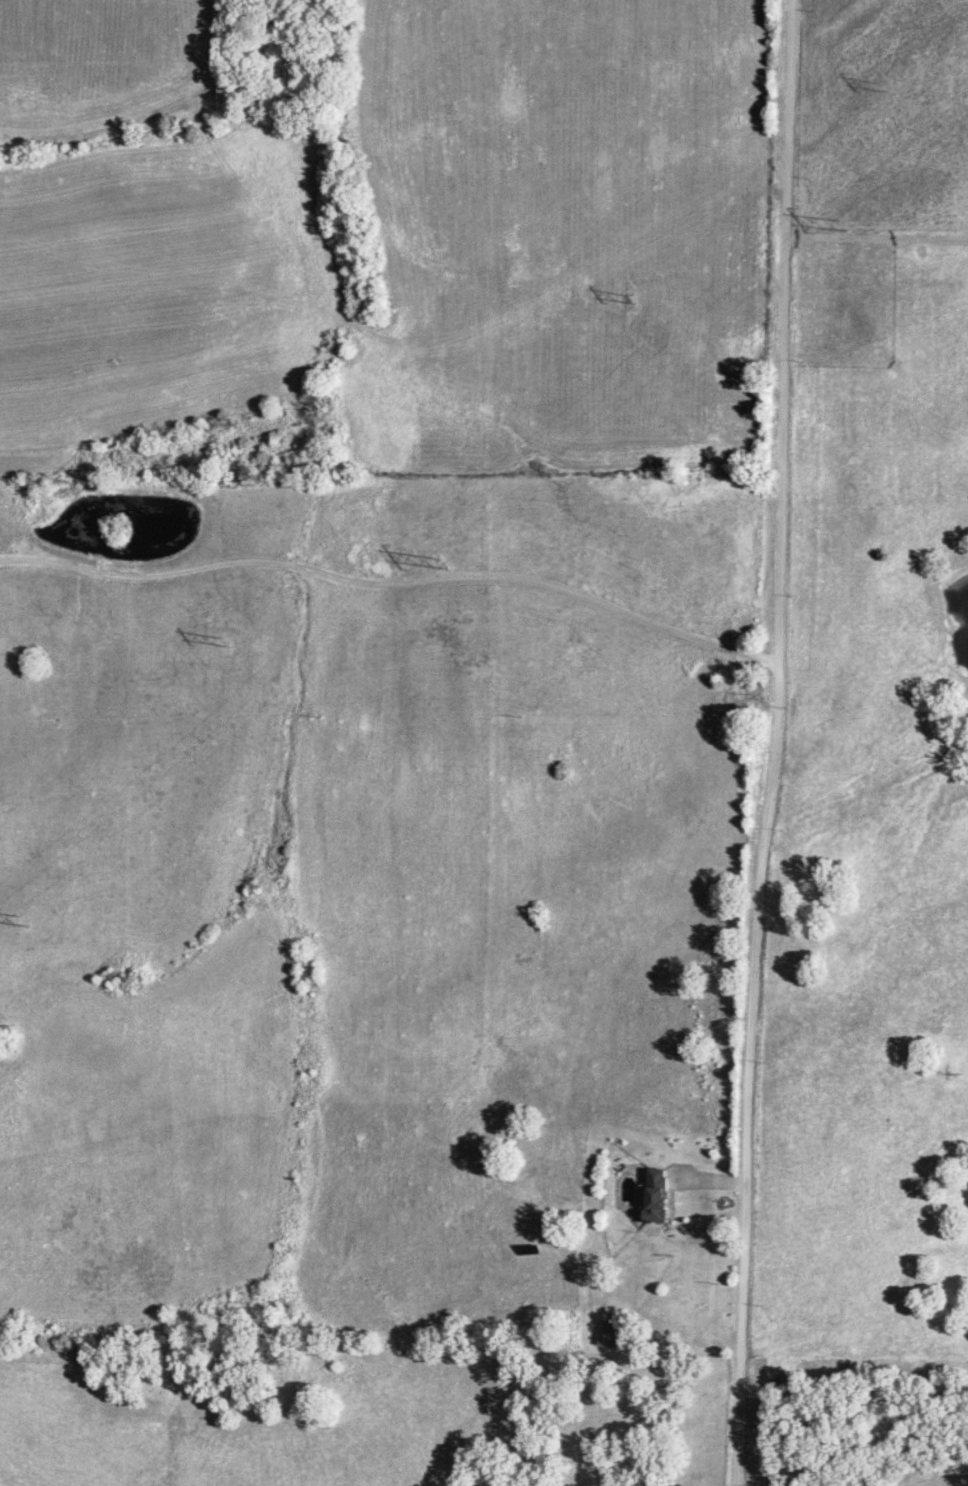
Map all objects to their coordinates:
power tower: (847, 225)
power tower: (454, 564)
road: (395, 582)
road: (777, 743)
power tower: (27, 921)
building: (658, 1195)
building: (612, 1336)

